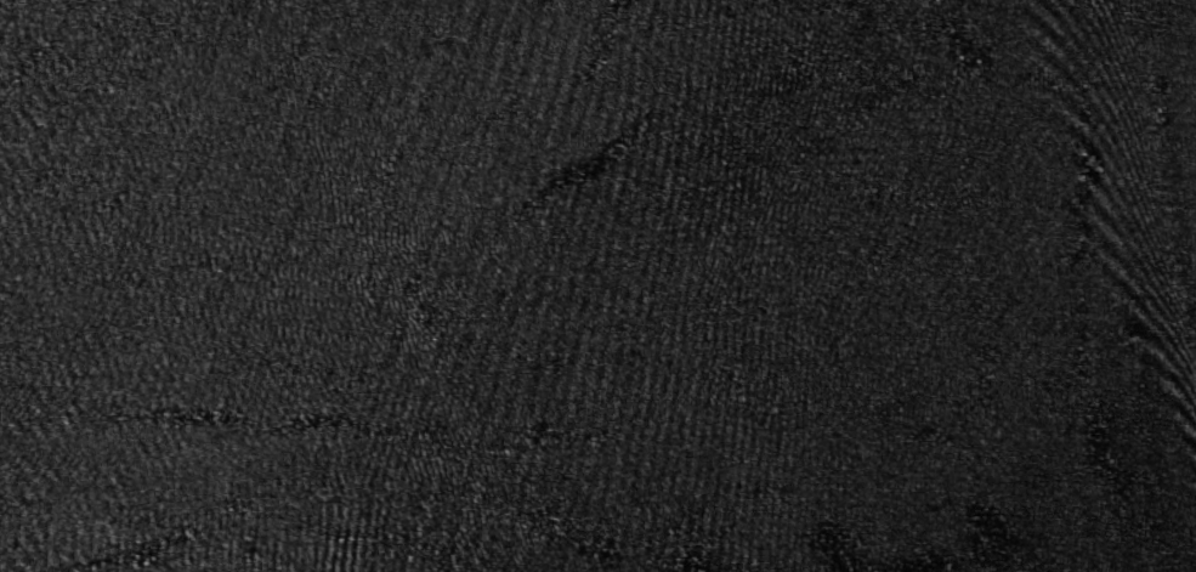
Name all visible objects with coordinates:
river: (755, 312)

